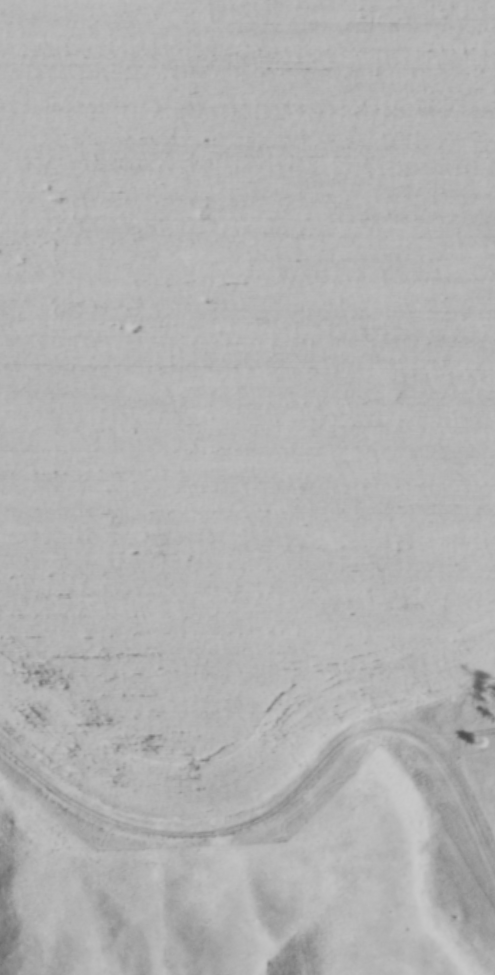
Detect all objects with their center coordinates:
road: (284, 801)

